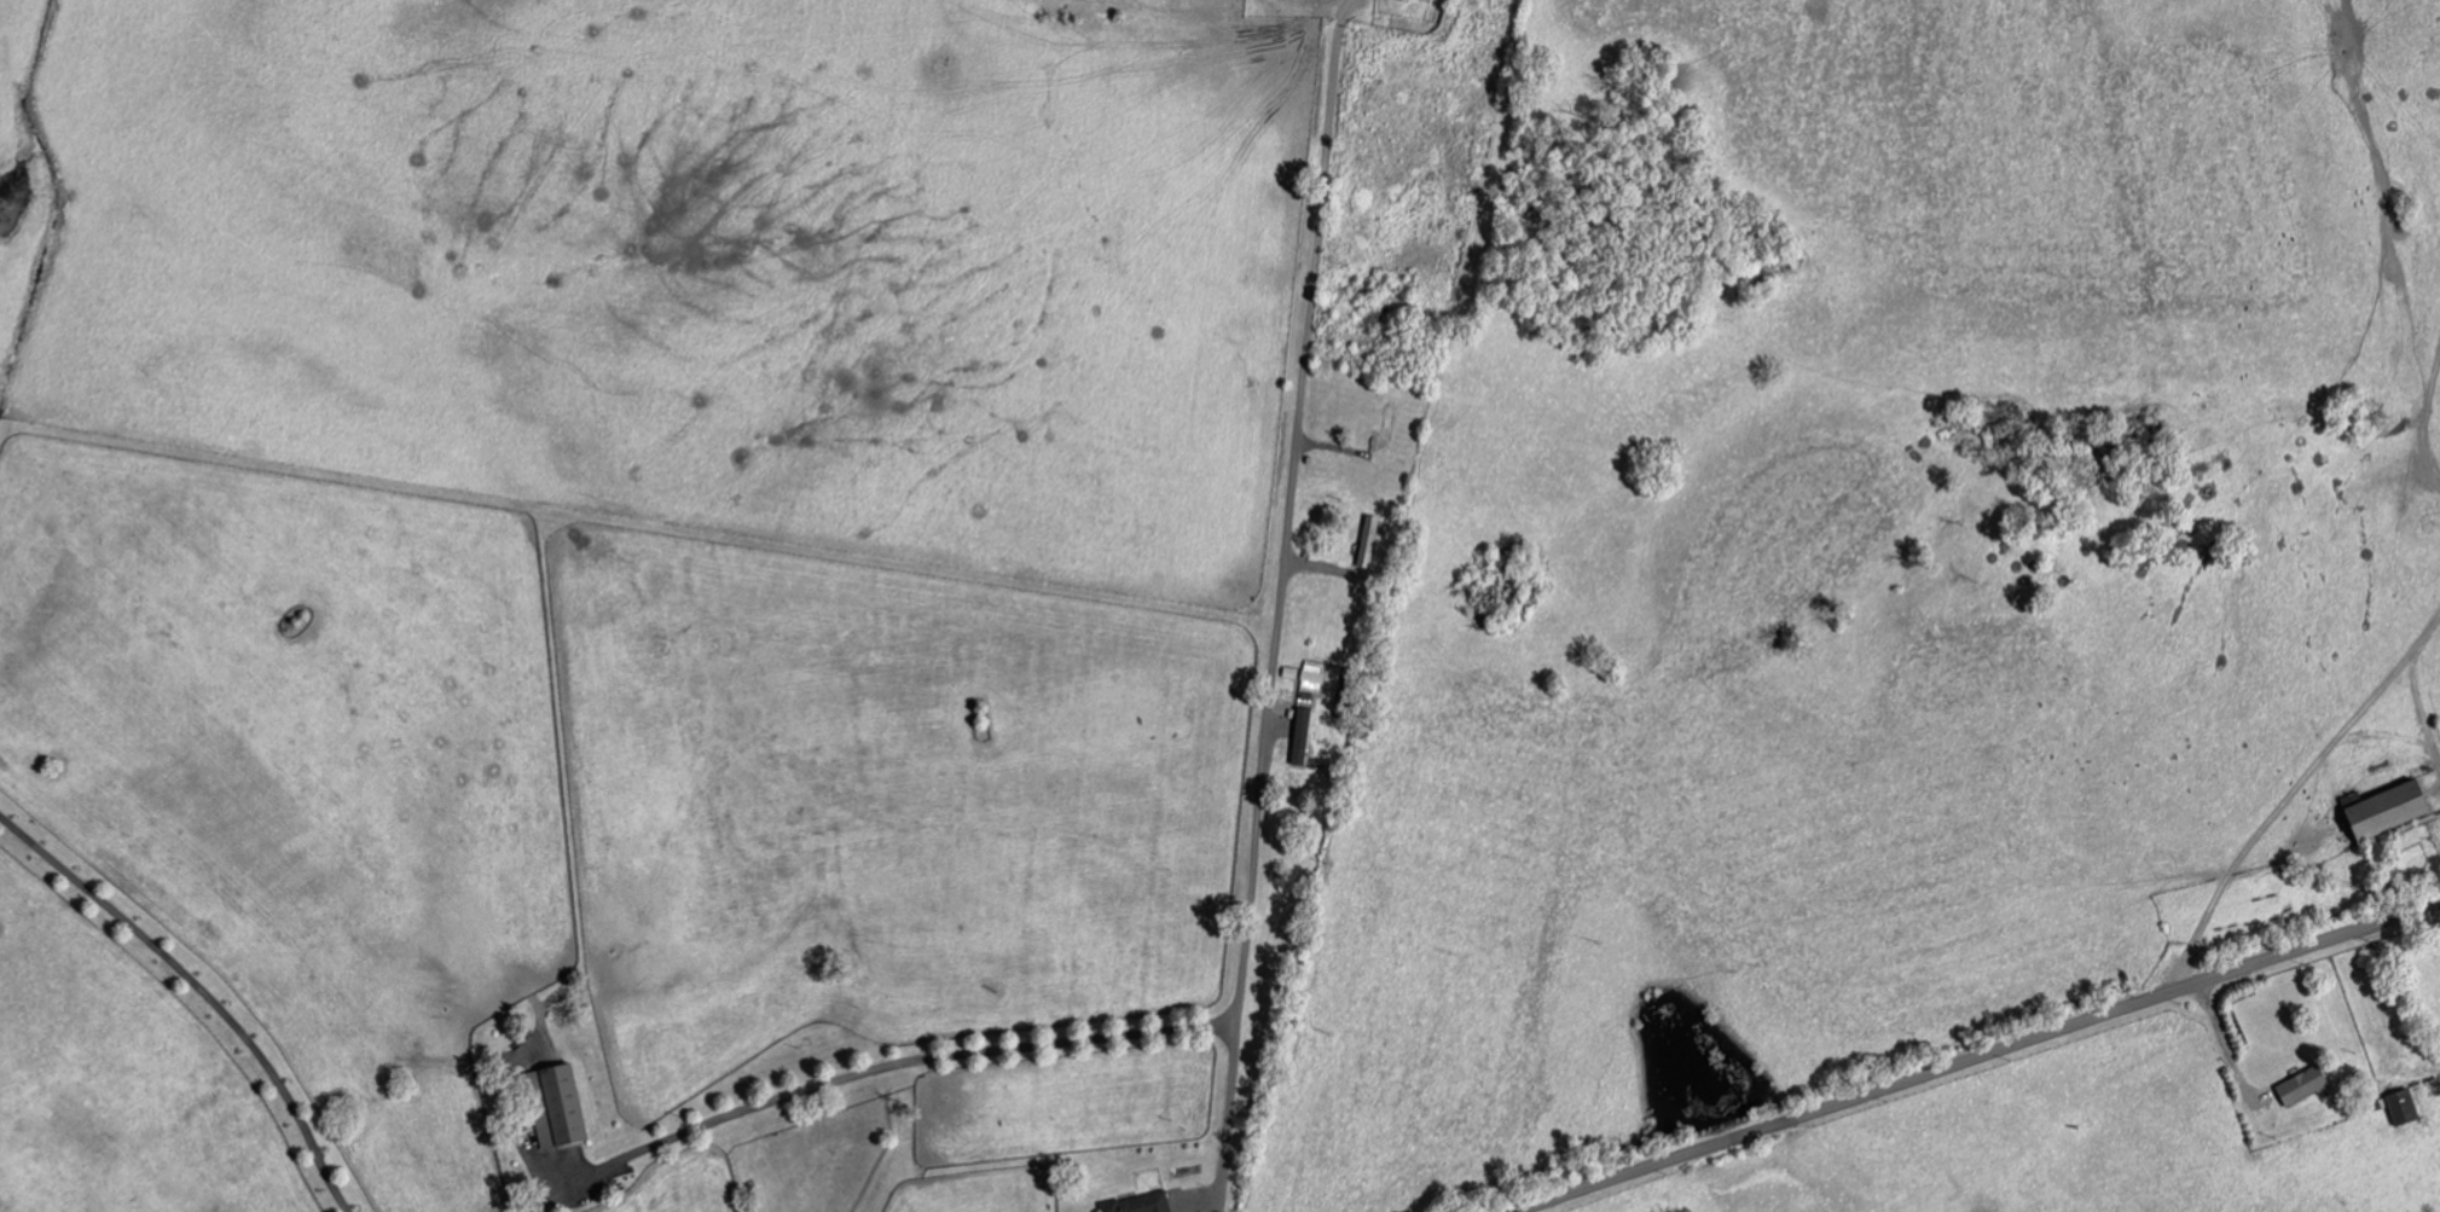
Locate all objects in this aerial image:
road: (2421, 416)
building: (1370, 540)
road: (1280, 604)
road: (2411, 685)
building: (1305, 736)
road: (2276, 808)
building: (2375, 811)
road: (202, 990)
road: (2214, 1057)
road: (1982, 1059)
road: (873, 1068)
building: (2307, 1084)
building: (2409, 1107)
building: (567, 1108)
road: (1595, 1200)
building: (1142, 1204)

